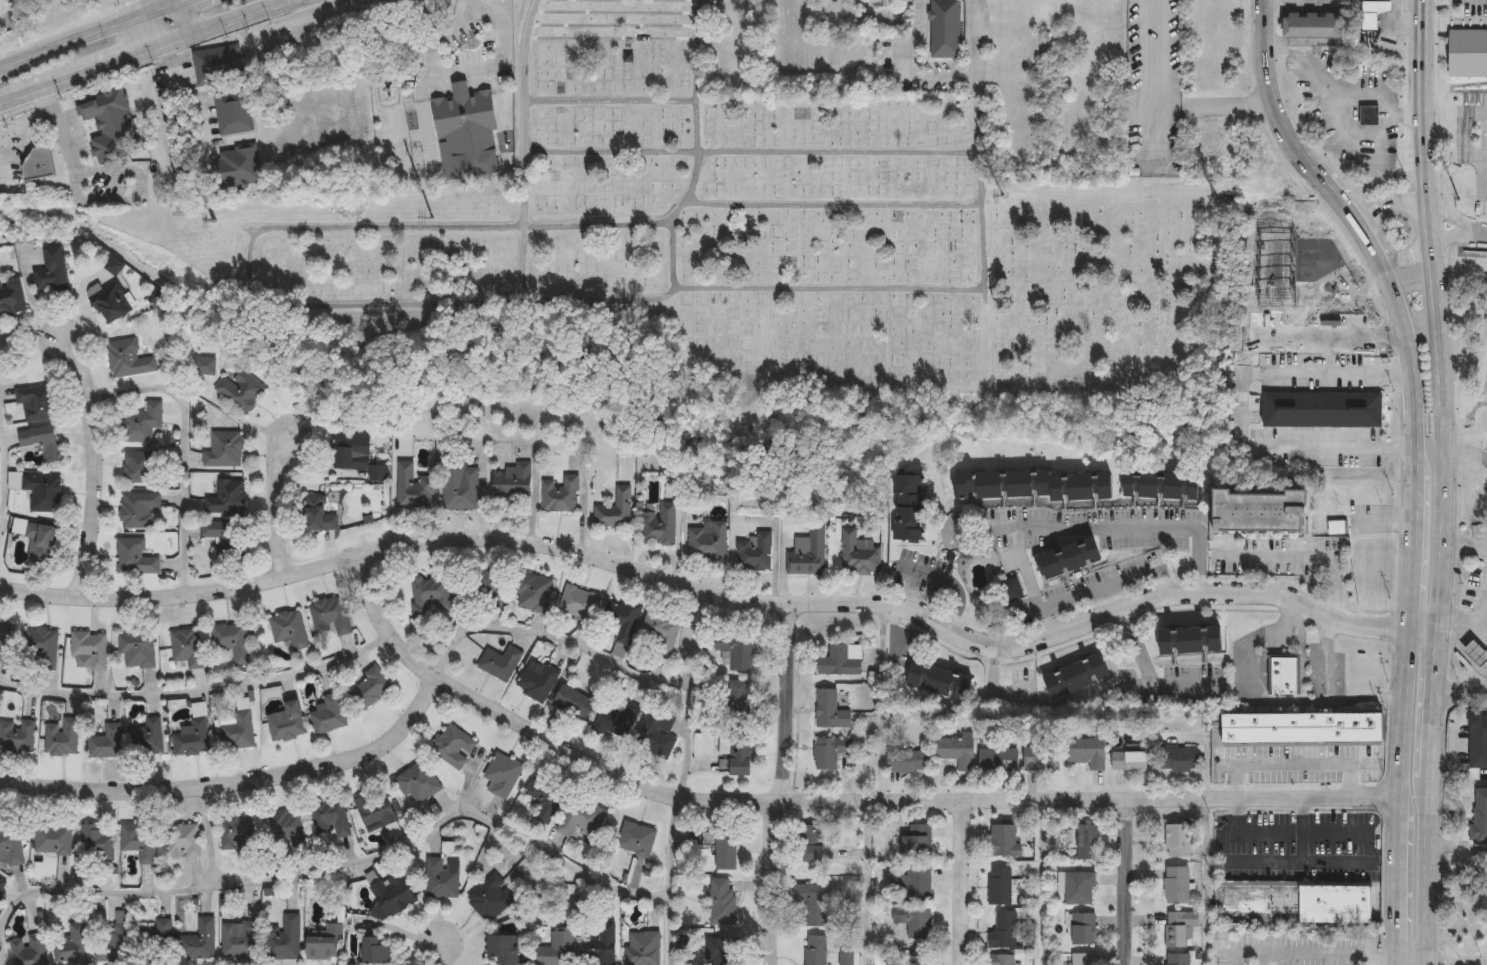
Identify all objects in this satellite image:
building: (1071, 0)
building: (892, 3)
road: (1268, 3)
road: (150, 4)
road: (165, 4)
road: (479, 5)
building: (739, 12)
road: (866, 12)
building: (1371, 12)
road: (9, 13)
road: (223, 20)
road: (1398, 21)
building: (1308, 24)
road: (158, 25)
building: (946, 29)
road: (76, 38)
building: (1468, 54)
road: (99, 66)
building: (219, 66)
road: (453, 73)
road: (977, 89)
road: (1343, 89)
road: (183, 91)
road: (17, 96)
road: (610, 100)
building: (234, 113)
building: (1366, 113)
road: (696, 114)
road: (26, 120)
building: (111, 125)
road: (1466, 131)
road: (1347, 136)
road: (1290, 139)
road: (524, 148)
road: (752, 152)
building: (47, 161)
road: (1156, 163)
building: (239, 168)
road: (120, 169)
road: (1481, 174)
road: (980, 192)
power tower: (1002, 196)
power tower: (1215, 199)
power tower: (1460, 200)
road: (1388, 202)
power tower: (432, 217)
power tower: (214, 224)
road: (1473, 226)
road: (1482, 230)
park: (774, 233)
road: (982, 254)
road: (1406, 257)
building: (53, 272)
building: (11, 300)
road: (257, 300)
building: (111, 302)
building: (128, 359)
building: (242, 392)
building: (38, 403)
building: (1318, 406)
road: (1241, 410)
building: (143, 425)
building: (43, 442)
road: (182, 446)
road: (1466, 448)
building: (225, 451)
road: (1, 455)
building: (357, 456)
road: (94, 463)
building: (141, 469)
road: (1445, 481)
building: (514, 482)
building: (461, 486)
building: (1035, 487)
building: (1163, 487)
building: (416, 490)
building: (44, 493)
building: (561, 496)
building: (227, 499)
road: (277, 502)
building: (910, 509)
building: (139, 510)
building: (1258, 510)
building: (616, 512)
building: (319, 516)
building: (660, 526)
road: (1085, 528)
building: (227, 538)
building: (43, 541)
building: (709, 543)
building: (756, 553)
building: (809, 554)
building: (859, 555)
building: (136, 558)
building: (1070, 560)
road: (1294, 563)
road: (950, 583)
road: (1112, 583)
building: (490, 589)
building: (1012, 592)
building: (534, 594)
building: (432, 597)
road: (724, 597)
building: (580, 604)
road: (1409, 607)
building: (336, 611)
road: (1463, 617)
building: (625, 620)
building: (295, 624)
building: (237, 634)
building: (660, 634)
building: (47, 640)
road: (549, 640)
building: (7, 642)
building: (195, 642)
building: (1192, 642)
building: (93, 644)
building: (144, 645)
building: (1473, 651)
building: (739, 652)
building: (506, 656)
building: (842, 662)
building: (542, 675)
building: (1284, 677)
building: (1077, 678)
building: (377, 681)
building: (941, 682)
road: (1142, 682)
road: (199, 690)
road: (686, 691)
road: (1461, 692)
building: (737, 700)
road: (880, 700)
road: (783, 701)
building: (574, 705)
building: (336, 711)
building: (832, 712)
building: (295, 715)
building: (618, 723)
building: (1299, 726)
building: (249, 727)
building: (20, 731)
building: (67, 732)
building: (153, 732)
building: (198, 732)
building: (656, 737)
building: (113, 739)
building: (1478, 747)
building: (454, 748)
building: (959, 752)
building: (831, 753)
building: (1089, 753)
building: (737, 755)
building: (1043, 760)
building: (1179, 760)
building: (1001, 761)
building: (908, 762)
building: (1131, 763)
road: (1291, 763)
building: (504, 776)
road: (1348, 778)
road: (237, 781)
road: (1234, 781)
building: (419, 785)
road: (829, 797)
building: (547, 799)
building: (377, 811)
road: (1235, 815)
building: (333, 817)
building: (582, 818)
building: (1480, 820)
building: (287, 828)
road: (1300, 829)
road: (1292, 832)
building: (239, 836)
building: (637, 840)
building: (55, 841)
road: (408, 841)
building: (917, 841)
building: (1004, 841)
building: (1179, 841)
building: (139, 842)
building: (185, 842)
building: (1088, 842)
building: (812, 843)
building: (97, 844)
building: (11, 847)
building: (724, 851)
road: (1039, 860)
road: (1297, 860)
building: (443, 879)
road: (670, 879)
road: (774, 882)
road: (864, 882)
road: (1122, 882)
road: (1203, 882)
road: (959, 883)
building: (2, 885)
building: (916, 885)
building: (1000, 886)
building: (1177, 886)
building: (1080, 888)
road: (80, 890)
building: (393, 898)
building: (492, 899)
building: (1293, 901)
building: (721, 902)
building: (812, 903)
building: (915, 921)
building: (1179, 927)
building: (1083, 929)
building: (1004, 931)
building: (245, 935)
building: (206, 936)
building: (289, 936)
building: (157, 939)
building: (117, 942)
building: (326, 945)
building: (74, 947)
building: (557, 947)
building: (602, 947)
building: (504, 949)
building: (645, 949)
building: (814, 950)
building: (377, 952)
building: (718, 952)
road: (438, 953)
building: (31, 954)
building: (920, 958)
building: (847, 959)
building: (1084, 959)
building: (1180, 959)
building: (882, 960)
building: (1002, 960)
road: (1250, 960)
road: (1338, 962)
road: (1257, 963)
road: (1457, 963)
road: (1368, 964)
road: (1412, 964)
road: (1426, 964)

